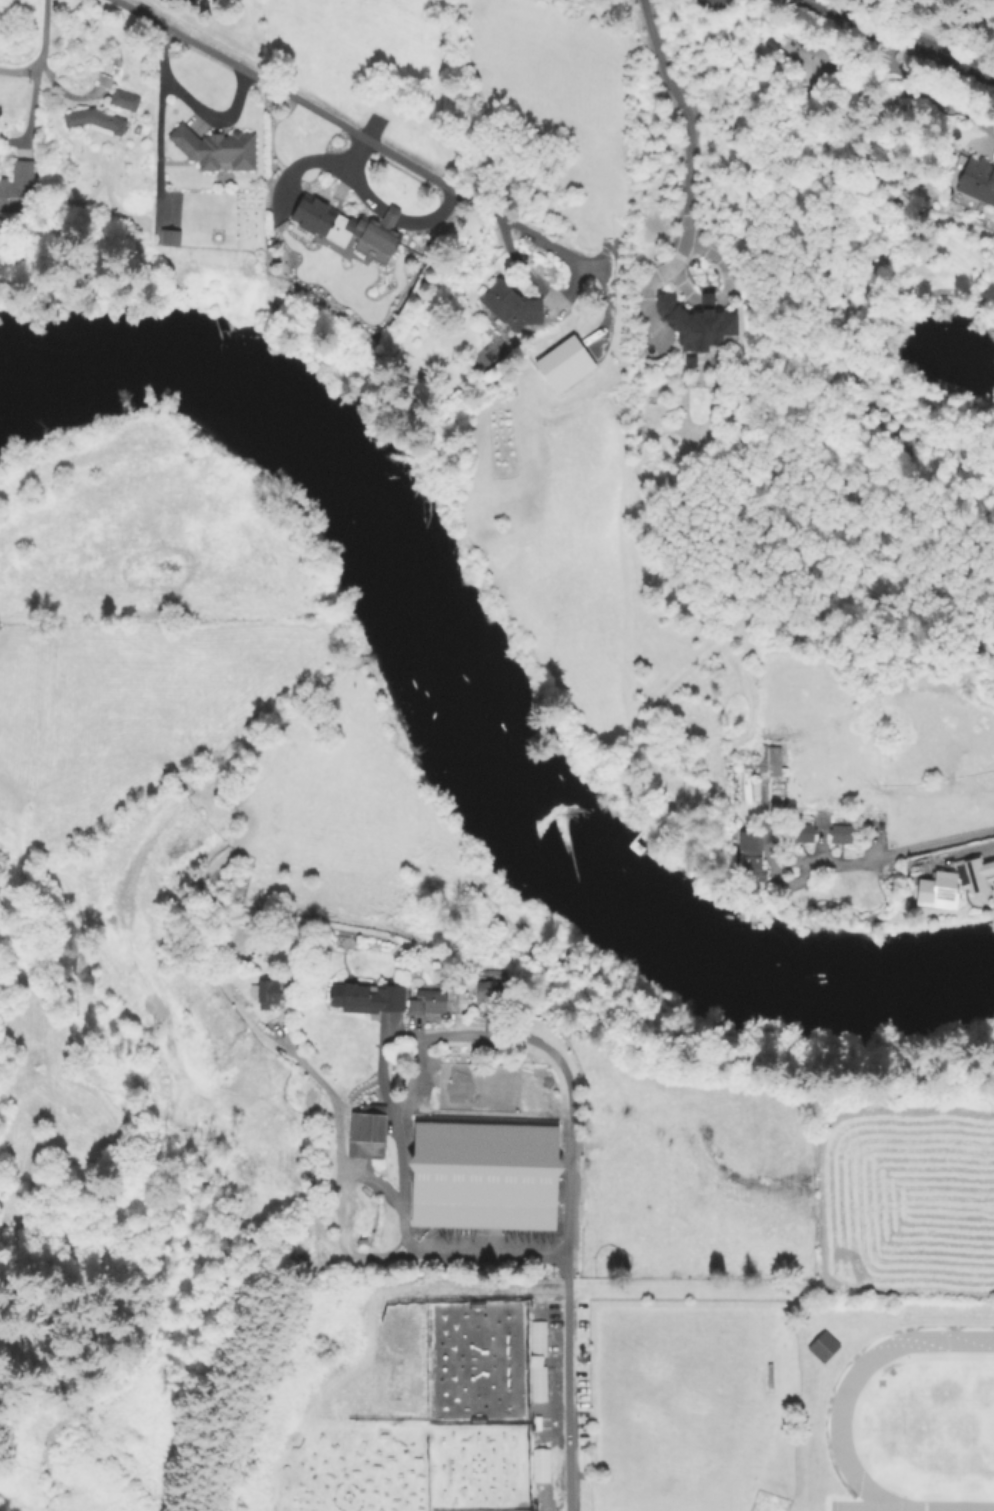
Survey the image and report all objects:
road: (43, 25)
road: (902, 36)
building: (819, 49)
road: (27, 71)
building: (104, 80)
road: (940, 90)
road: (280, 94)
building: (126, 98)
road: (207, 118)
building: (97, 121)
road: (158, 125)
building: (138, 129)
road: (684, 135)
building: (218, 148)
road: (304, 169)
building: (978, 180)
building: (18, 192)
building: (325, 218)
building: (380, 231)
building: (320, 233)
building: (171, 238)
road: (553, 249)
building: (513, 310)
building: (694, 330)
building: (685, 358)
building: (563, 364)
river: (279, 391)
building: (768, 761)
building: (801, 833)
building: (839, 834)
building: (749, 857)
road: (868, 860)
building: (979, 874)
building: (937, 889)
building: (991, 896)
river: (659, 908)
building: (345, 942)
building: (490, 991)
building: (269, 993)
building: (368, 998)
building: (428, 1003)
road: (413, 1077)
building: (369, 1132)
building: (484, 1176)
road: (569, 1193)
road: (400, 1225)
building: (537, 1338)
building: (820, 1345)
building: (537, 1383)
track: (840, 1426)
park: (949, 1426)
building: (539, 1465)

